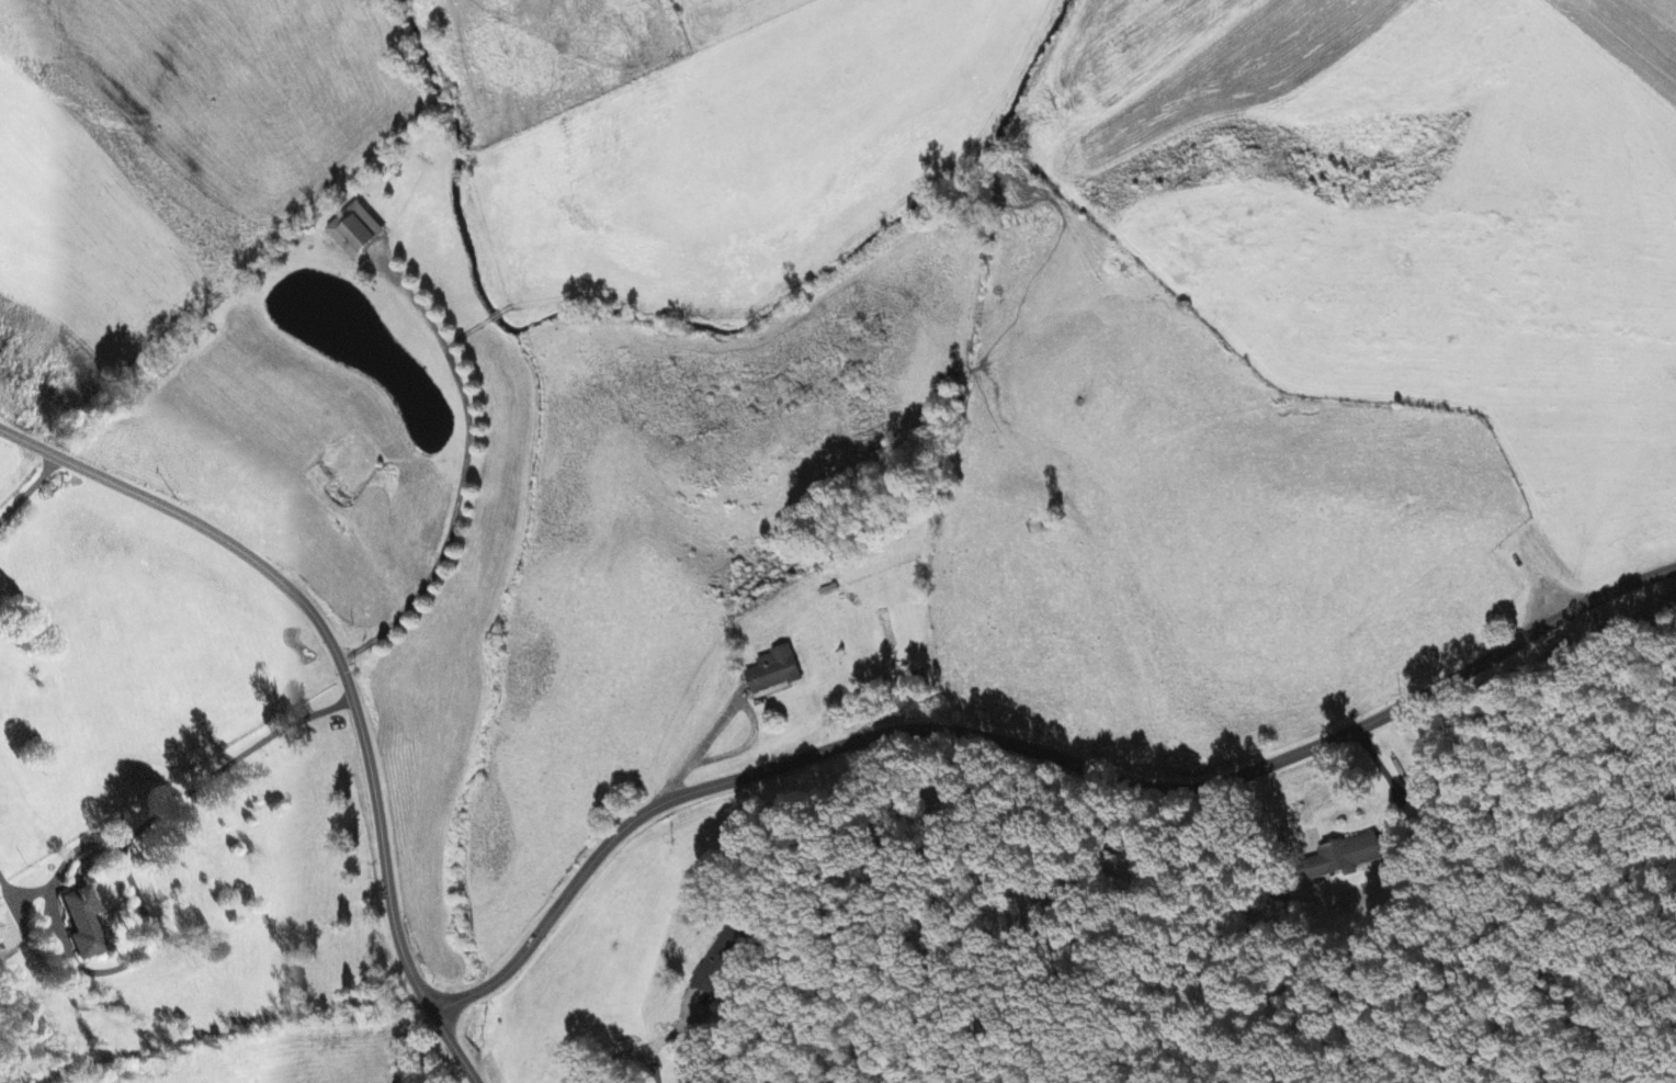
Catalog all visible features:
building: (356, 233)
road: (344, 673)
building: (774, 673)
road: (698, 745)
road: (1031, 755)
road: (1385, 776)
building: (1348, 858)
building: (84, 925)
building: (7, 933)
building: (722, 962)
road: (620, 1053)

